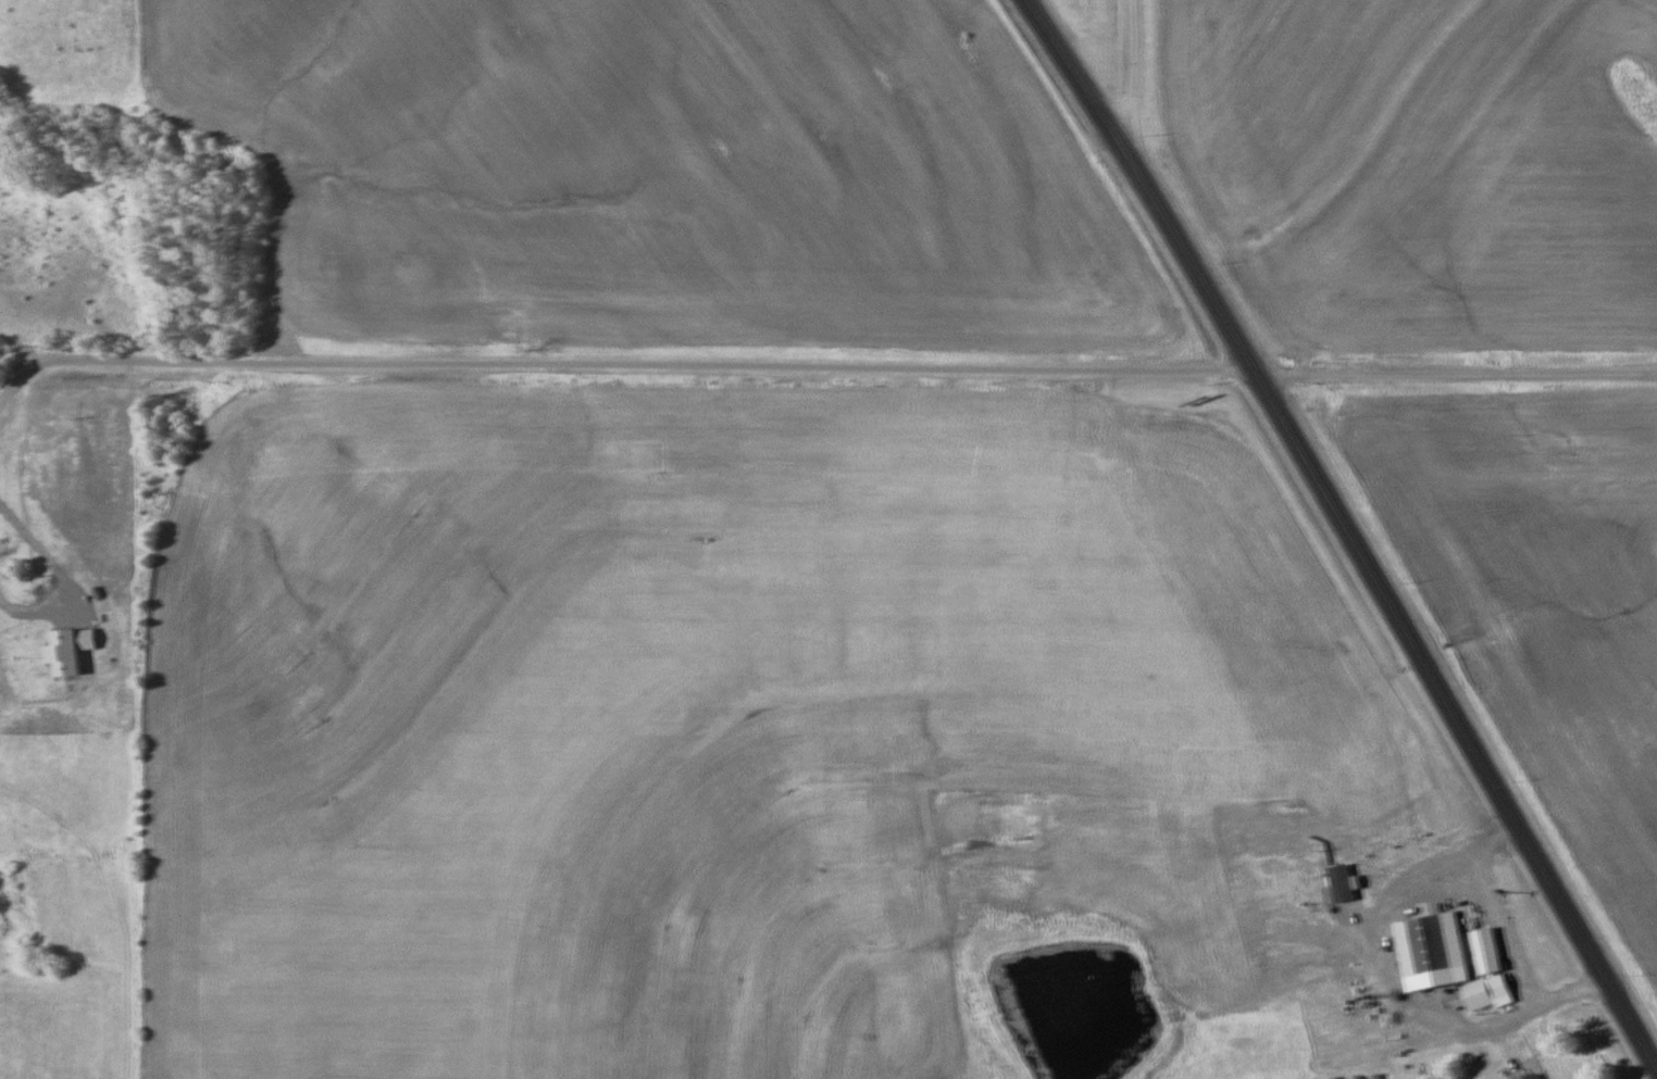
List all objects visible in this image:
road: (1132, 83)
road: (622, 360)
road: (1457, 375)
road: (21, 391)
road: (1346, 528)
building: (27, 594)
building: (1116, 851)
building: (1429, 951)
building: (1485, 973)
road: (1532, 1014)
building: (1532, 1076)

